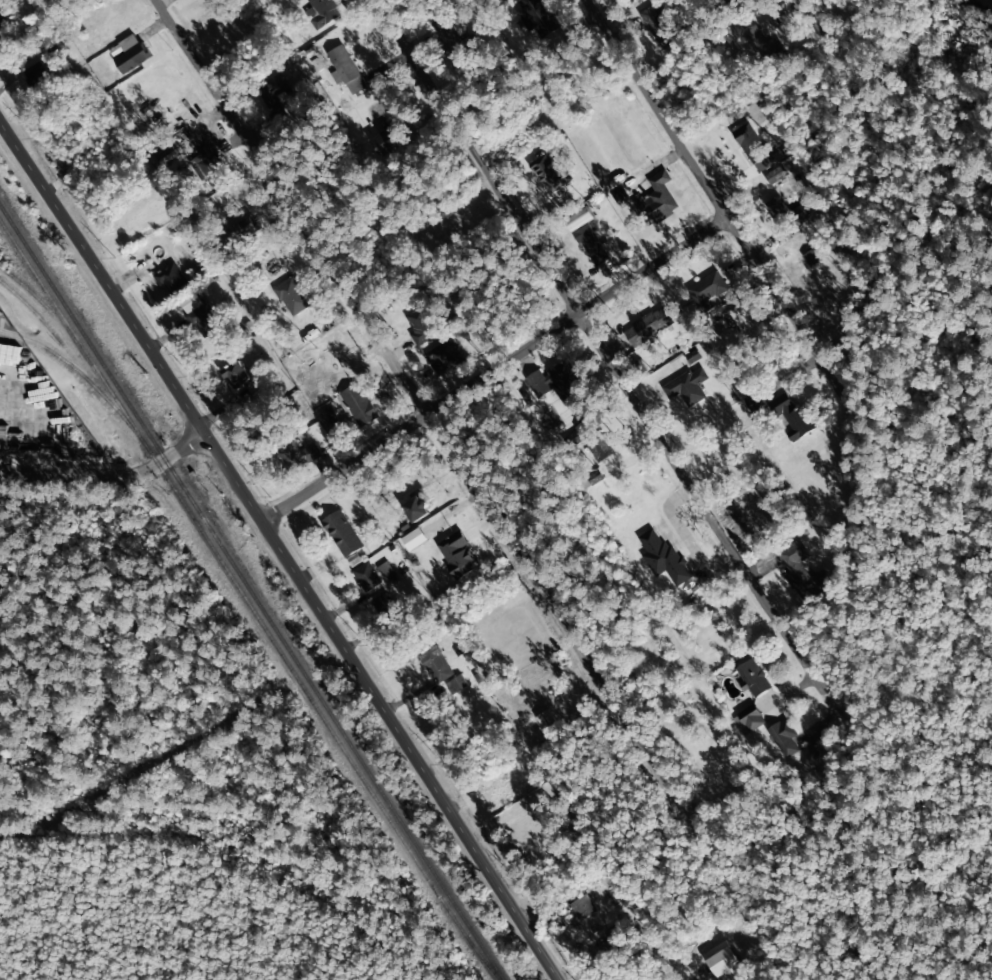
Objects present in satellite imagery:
building: (734, 2)
building: (322, 12)
building: (5, 16)
building: (538, 18)
road: (811, 18)
building: (658, 25)
building: (454, 39)
building: (763, 46)
building: (129, 53)
building: (342, 68)
building: (388, 140)
building: (749, 143)
building: (763, 163)
building: (550, 174)
building: (773, 175)
road: (706, 185)
building: (620, 196)
building: (659, 198)
building: (783, 212)
building: (580, 219)
building: (594, 246)
building: (807, 257)
building: (170, 277)
building: (707, 289)
building: (292, 296)
building: (201, 315)
building: (421, 326)
building: (648, 326)
road: (600, 347)
building: (444, 357)
road: (496, 369)
building: (236, 375)
building: (556, 381)
building: (687, 387)
building: (359, 404)
building: (329, 417)
building: (794, 417)
building: (590, 439)
building: (304, 455)
road: (464, 470)
road: (110, 475)
building: (416, 509)
building: (342, 533)
building: (415, 539)
road: (282, 547)
building: (457, 554)
building: (662, 556)
building: (385, 569)
building: (800, 572)
building: (366, 577)
railway: (251, 592)
building: (384, 607)
railway: (256, 617)
building: (436, 664)
building: (753, 678)
building: (454, 685)
building: (750, 722)
building: (783, 738)
building: (809, 756)
building: (583, 907)
building: (725, 964)

